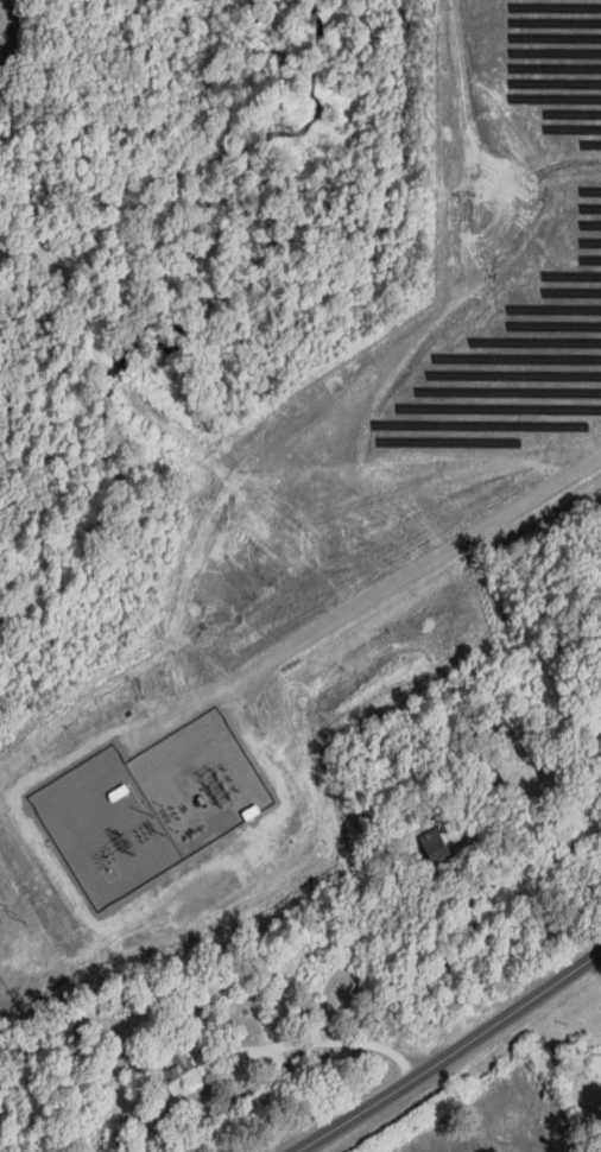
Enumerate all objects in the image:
road: (335, 1043)
road: (448, 1052)
building: (184, 1072)

